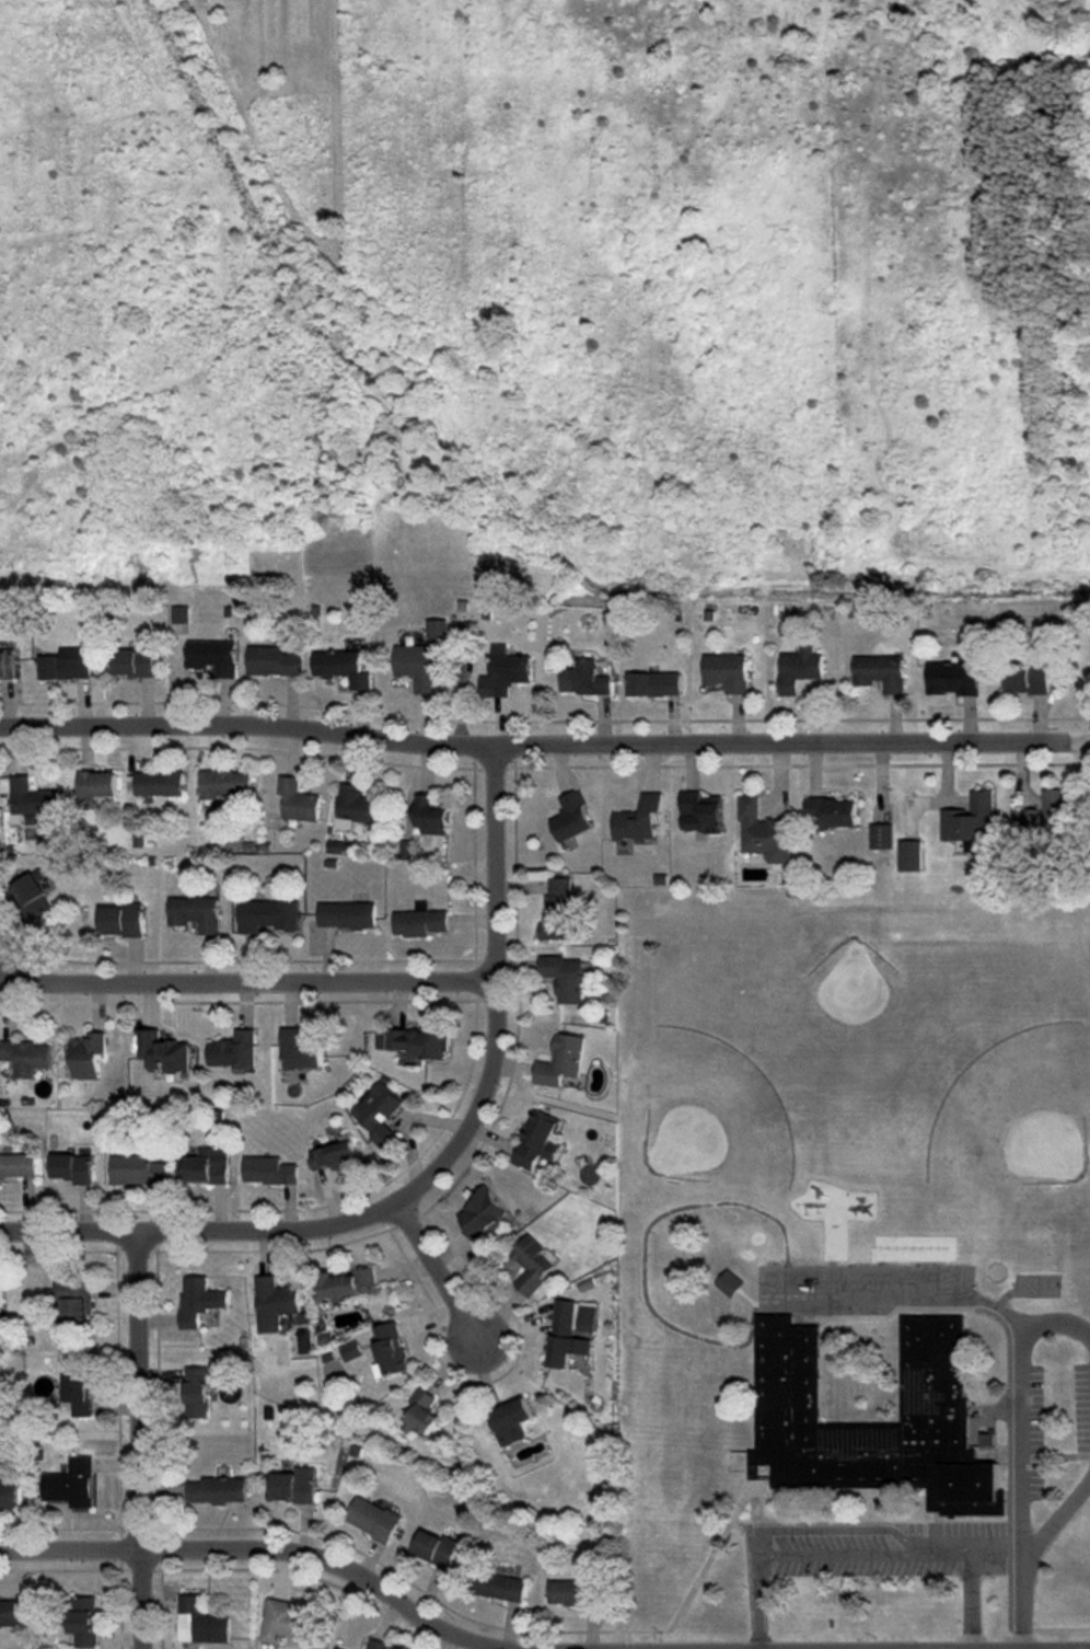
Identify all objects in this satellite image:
building: (179, 614)
building: (437, 629)
building: (212, 656)
building: (135, 661)
building: (272, 661)
building: (7, 664)
building: (417, 666)
building: (65, 667)
building: (341, 667)
building: (799, 669)
building: (727, 671)
building: (506, 672)
building: (881, 672)
building: (1029, 673)
building: (953, 678)
building: (584, 679)
building: (654, 684)
road: (544, 741)
building: (159, 783)
building: (224, 783)
building: (97, 784)
building: (28, 796)
building: (297, 800)
building: (355, 806)
building: (833, 811)
building: (701, 812)
building: (429, 815)
building: (571, 817)
building: (638, 819)
building: (1043, 819)
building: (972, 823)
building: (764, 832)
building: (881, 837)
building: (911, 855)
building: (33, 895)
building: (557, 910)
building: (196, 913)
building: (266, 915)
building: (346, 915)
building: (121, 920)
building: (419, 921)
building: (565, 977)
road: (245, 979)
building: (416, 1041)
building: (233, 1050)
building: (163, 1051)
building: (300, 1051)
building: (88, 1054)
building: (26, 1057)
building: (561, 1060)
building: (379, 1112)
building: (538, 1140)
building: (335, 1156)
building: (18, 1165)
building: (209, 1166)
building: (73, 1167)
building: (137, 1169)
road: (429, 1169)
building: (269, 1171)
building: (482, 1214)
building: (532, 1264)
road: (440, 1271)
building: (348, 1283)
building: (731, 1283)
building: (1, 1300)
building: (199, 1300)
building: (74, 1301)
building: (275, 1303)
building: (565, 1336)
building: (390, 1350)
building: (350, 1351)
building: (935, 1374)
building: (197, 1392)
building: (78, 1394)
building: (422, 1412)
building: (511, 1421)
road: (138, 1439)
road: (1023, 1442)
building: (71, 1484)
building: (292, 1486)
building: (219, 1490)
building: (8, 1496)
building: (373, 1519)
road: (1057, 1527)
road: (275, 1548)
building: (436, 1548)
road: (866, 1564)
building: (500, 1587)
building: (570, 1592)
road: (1022, 1606)
building: (9, 1612)
building: (83, 1621)
building: (283, 1622)
building: (201, 1623)
building: (378, 1645)
building: (338, 1648)

